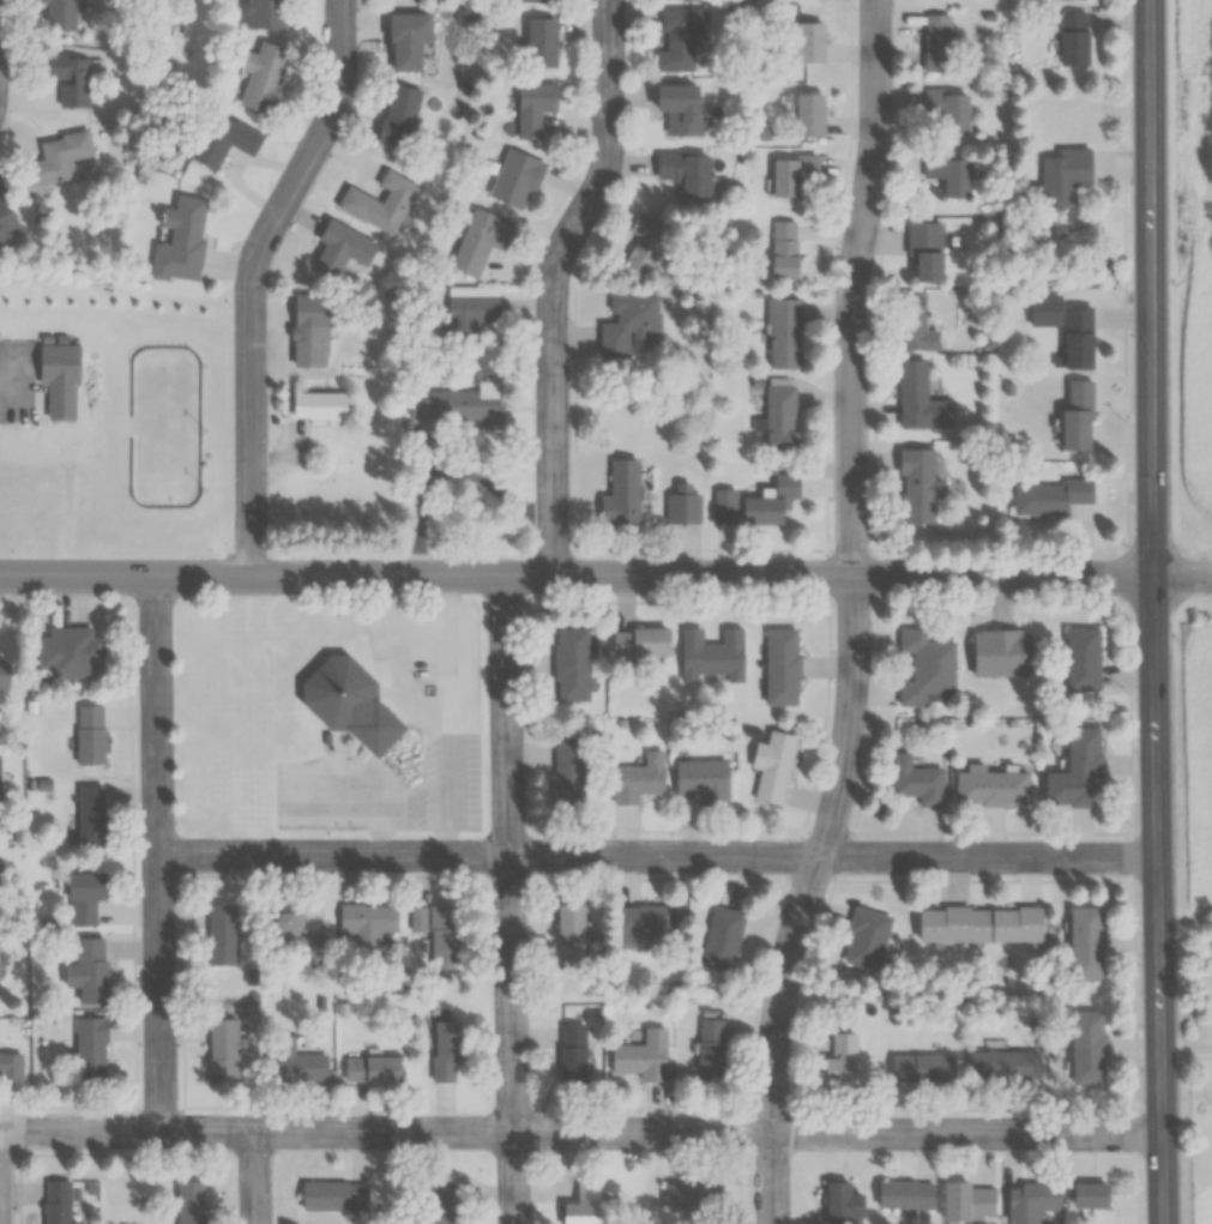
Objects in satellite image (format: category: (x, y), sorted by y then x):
building: (529, 0)
building: (1059, 2)
building: (265, 13)
building: (58, 14)
building: (677, 37)
building: (405, 40)
building: (538, 42)
building: (808, 42)
building: (937, 43)
building: (1066, 47)
building: (261, 76)
building: (68, 77)
building: (532, 108)
building: (679, 109)
building: (946, 111)
building: (809, 114)
building: (398, 115)
building: (223, 139)
street lamp: (1124, 140)
building: (58, 158)
building: (685, 173)
building: (791, 174)
building: (947, 174)
building: (514, 180)
building: (1054, 181)
building: (379, 203)
building: (6, 218)
building: (185, 230)
building: (480, 241)
building: (644, 246)
crop: (1195, 246)
building: (340, 248)
building: (783, 248)
building: (924, 252)
road: (258, 276)
road: (559, 281)
building: (472, 307)
building: (913, 321)
building: (628, 324)
building: (1056, 328)
building: (783, 333)
building: (918, 398)
building: (454, 404)
building: (320, 405)
building: (780, 417)
building: (1068, 423)
park: (149, 424)
building: (917, 486)
building: (621, 494)
building: (770, 501)
building: (1044, 504)
building: (682, 508)
street lamp: (1128, 536)
road: (1181, 574)
road: (574, 575)
road: (1122, 611)
road: (1151, 611)
road: (854, 616)
building: (639, 641)
building: (68, 651)
building: (1000, 651)
building: (711, 656)
building: (571, 663)
building: (1074, 664)
building: (780, 665)
building: (925, 665)
building: (4, 674)
building: (346, 703)
building: (90, 734)
crop: (1193, 752)
building: (772, 765)
building: (568, 773)
building: (638, 779)
building: (1068, 779)
building: (703, 780)
building: (917, 780)
building: (991, 788)
building: (91, 815)
street lamp: (1130, 819)
road: (156, 852)
road: (656, 855)
building: (83, 897)
building: (1, 899)
road: (511, 899)
building: (645, 918)
building: (364, 923)
building: (978, 923)
building: (568, 931)
building: (221, 934)
building: (296, 936)
building: (444, 936)
building: (722, 937)
building: (866, 937)
building: (1078, 949)
building: (90, 970)
building: (224, 1048)
building: (89, 1049)
building: (710, 1049)
road: (1186, 1049)
building: (444, 1050)
building: (572, 1053)
building: (1080, 1054)
building: (643, 1055)
building: (840, 1060)
building: (295, 1062)
building: (10, 1063)
building: (1003, 1063)
building: (370, 1068)
building: (922, 1068)
street lamp: (1140, 1099)
road: (580, 1132)
road: (255, 1177)
building: (905, 1194)
building: (333, 1195)
building: (687, 1195)
building: (842, 1200)
building: (1031, 1200)
building: (56, 1201)
building: (189, 1201)
building: (969, 1201)
building: (440, 1202)
building: (1081, 1202)
building: (585, 1206)
crop: (1194, 1206)

